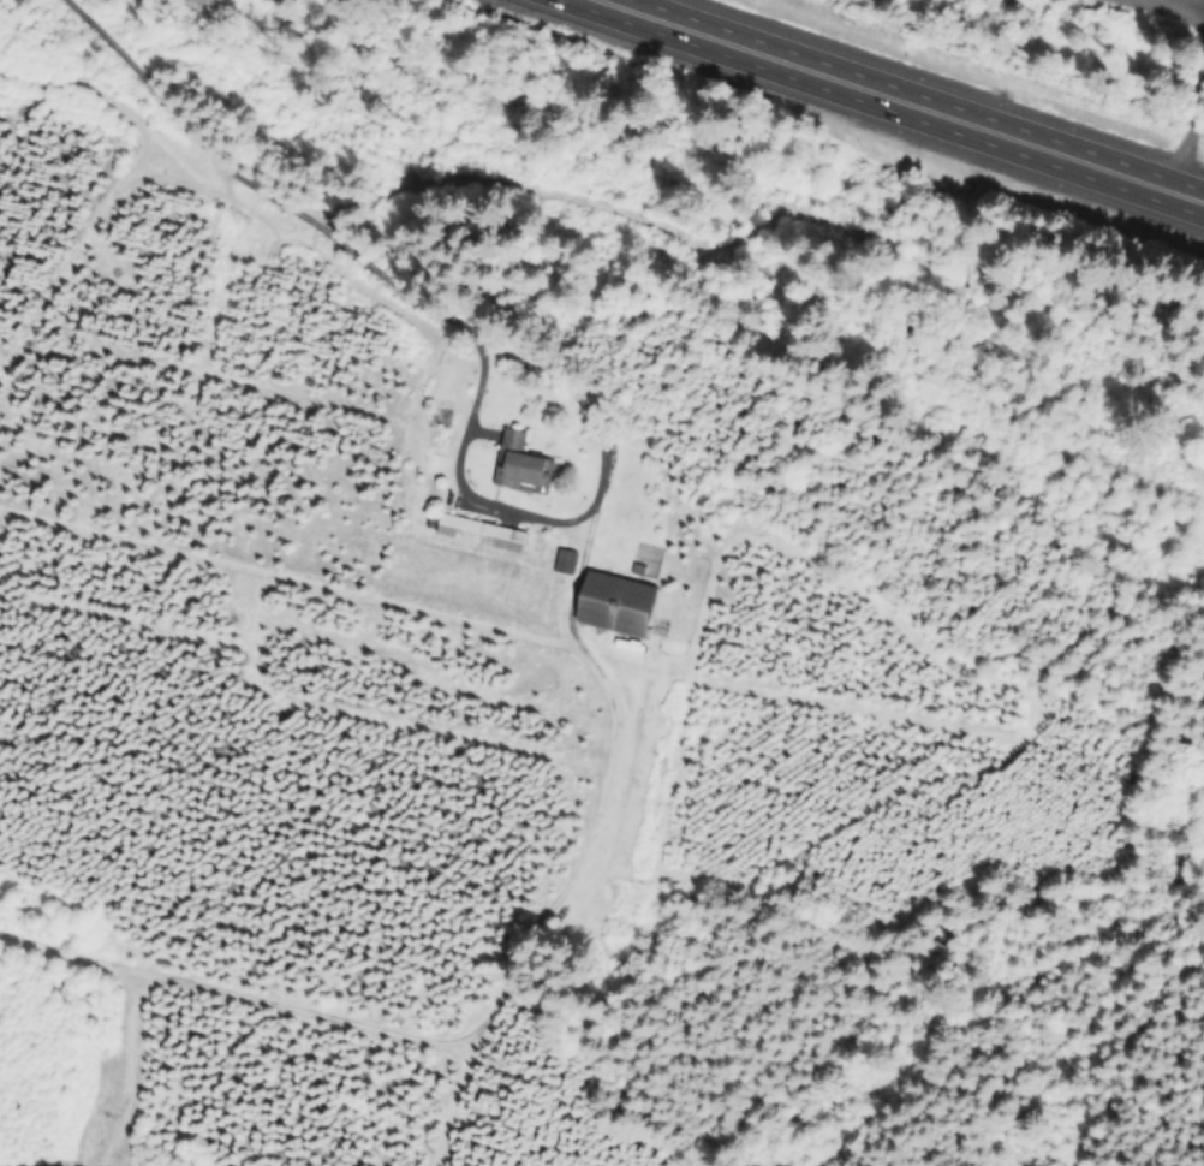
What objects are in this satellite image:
road: (1170, 6)
road: (908, 96)
road: (1188, 144)
road: (254, 178)
building: (517, 468)
road: (560, 514)
building: (475, 534)
building: (561, 564)
building: (607, 605)

